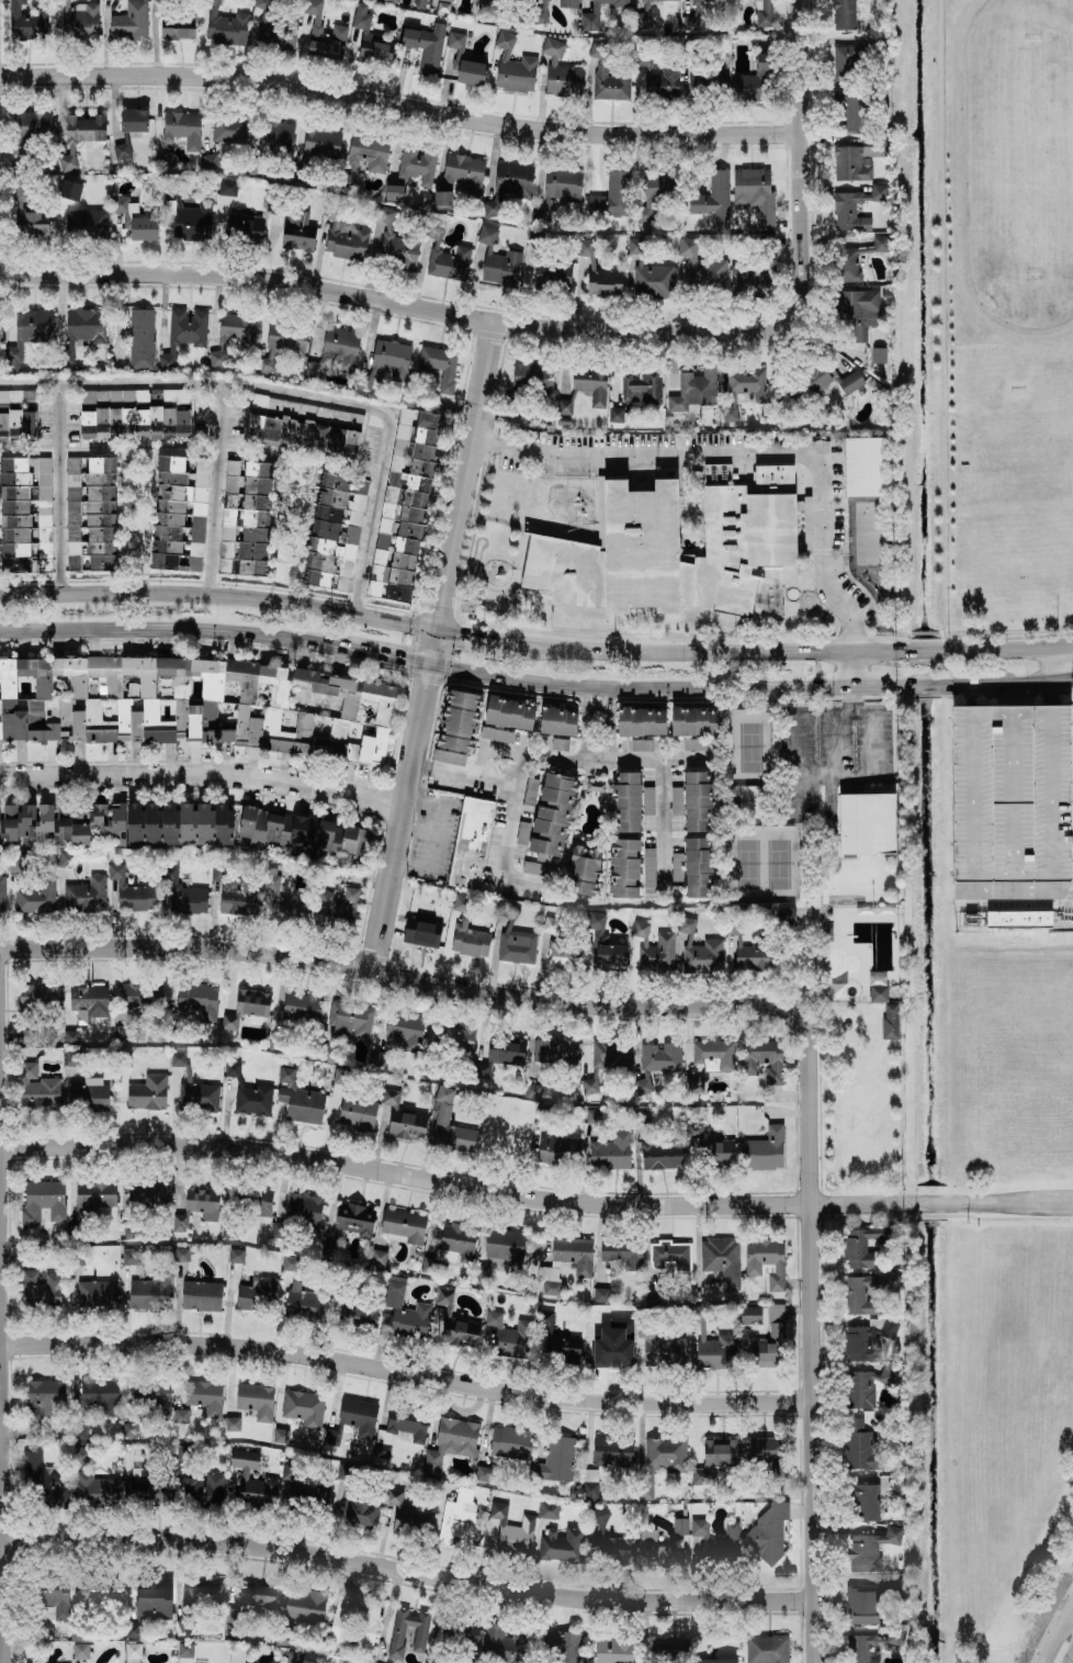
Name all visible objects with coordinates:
building: (389, 0)
building: (705, 0)
building: (416, 2)
building: (567, 3)
building: (443, 5)
building: (643, 10)
building: (541, 11)
building: (761, 12)
building: (595, 13)
building: (843, 14)
building: (26, 21)
building: (78, 21)
building: (129, 21)
building: (176, 26)
building: (226, 29)
building: (274, 33)
building: (323, 34)
building: (370, 38)
building: (454, 41)
building: (425, 45)
building: (846, 61)
building: (512, 67)
building: (560, 70)
building: (470, 71)
building: (607, 75)
building: (654, 77)
building: (707, 80)
road: (398, 108)
building: (848, 112)
building: (133, 120)
building: (31, 124)
building: (181, 127)
building: (228, 130)
building: (275, 135)
building: (79, 136)
building: (320, 142)
building: (121, 150)
building: (363, 155)
building: (856, 159)
building: (165, 160)
building: (210, 160)
building: (416, 164)
building: (460, 177)
building: (508, 184)
building: (227, 188)
building: (75, 191)
building: (653, 191)
building: (393, 192)
building: (754, 192)
road: (799, 192)
building: (610, 196)
building: (712, 199)
building: (854, 209)
building: (27, 217)
building: (136, 220)
building: (191, 221)
building: (84, 224)
building: (121, 224)
building: (244, 227)
building: (297, 231)
building: (486, 235)
building: (346, 240)
building: (879, 244)
building: (398, 250)
building: (449, 262)
building: (849, 265)
building: (501, 268)
building: (701, 268)
building: (645, 273)
building: (552, 276)
building: (748, 281)
building: (603, 283)
road: (369, 300)
building: (858, 310)
road: (936, 318)
building: (0, 326)
building: (187, 327)
building: (81, 330)
building: (27, 334)
building: (233, 335)
building: (140, 338)
building: (282, 344)
building: (336, 351)
building: (391, 358)
building: (167, 360)
building: (439, 366)
building: (531, 377)
building: (849, 382)
road: (226, 383)
building: (590, 384)
building: (820, 385)
building: (742, 387)
building: (692, 390)
building: (636, 393)
building: (27, 398)
building: (563, 405)
road: (50, 414)
building: (128, 416)
building: (14, 418)
building: (303, 425)
road: (190, 446)
road: (712, 451)
building: (862, 467)
road: (216, 488)
building: (403, 504)
building: (196, 508)
building: (27, 510)
building: (170, 510)
building: (89, 514)
building: (245, 517)
road: (58, 519)
building: (337, 531)
road: (365, 542)
building: (674, 549)
road: (218, 595)
traffic signals: (439, 609)
road: (850, 618)
road: (173, 629)
traffic signals: (458, 631)
road: (464, 631)
road: (920, 634)
road: (1062, 643)
road: (431, 645)
road: (1014, 647)
road: (734, 651)
road: (386, 655)
traffic signals: (404, 660)
road: (1052, 663)
road: (847, 666)
road: (1063, 678)
road: (1015, 681)
traffic signals: (426, 684)
road: (702, 685)
road: (850, 695)
building: (196, 705)
road: (846, 713)
road: (589, 717)
road: (611, 718)
building: (481, 719)
building: (694, 720)
building: (557, 721)
building: (641, 721)
road: (872, 732)
building: (693, 742)
road: (561, 744)
building: (641, 744)
building: (448, 756)
road: (840, 764)
road: (203, 775)
building: (595, 785)
building: (1010, 794)
parking garage: (1010, 794)
road: (524, 798)
building: (625, 801)
building: (698, 801)
road: (670, 814)
building: (178, 823)
building: (866, 823)
building: (61, 824)
building: (550, 824)
building: (261, 831)
road: (473, 841)
building: (470, 842)
building: (355, 844)
building: (65, 859)
road: (512, 859)
building: (698, 867)
building: (623, 868)
building: (584, 870)
road: (1020, 890)
building: (131, 891)
building: (1, 894)
building: (183, 894)
building: (86, 895)
building: (35, 897)
building: (238, 897)
building: (283, 901)
building: (459, 903)
building: (337, 907)
building: (1018, 919)
building: (421, 932)
building: (467, 937)
building: (516, 946)
building: (653, 947)
building: (699, 952)
building: (564, 955)
building: (752, 956)
building: (609, 957)
road: (363, 969)
building: (878, 993)
building: (38, 996)
building: (140, 996)
building: (88, 1002)
building: (196, 1002)
building: (246, 1007)
building: (301, 1008)
building: (348, 1020)
building: (890, 1021)
building: (405, 1030)
building: (451, 1034)
building: (29, 1035)
building: (554, 1053)
building: (713, 1054)
building: (499, 1055)
building: (659, 1056)
building: (177, 1058)
building: (376, 1058)
building: (606, 1060)
building: (761, 1060)
park: (851, 1070)
building: (642, 1086)
building: (37, 1089)
building: (82, 1090)
building: (147, 1092)
building: (197, 1097)
building: (298, 1099)
building: (388, 1099)
building: (252, 1100)
building: (357, 1111)
building: (545, 1115)
building: (442, 1116)
building: (592, 1116)
building: (641, 1119)
building: (406, 1125)
building: (710, 1145)
building: (764, 1149)
building: (557, 1150)
building: (610, 1151)
building: (660, 1156)
building: (146, 1194)
building: (93, 1195)
road: (534, 1199)
building: (256, 1201)
building: (42, 1202)
building: (202, 1202)
building: (304, 1211)
building: (354, 1218)
building: (179, 1222)
building: (403, 1226)
building: (278, 1231)
building: (454, 1243)
building: (865, 1245)
building: (327, 1247)
building: (506, 1247)
building: (622, 1252)
building: (180, 1254)
building: (573, 1254)
building: (236, 1255)
building: (670, 1255)
building: (377, 1257)
building: (721, 1260)
building: (287, 1262)
building: (765, 1262)
building: (481, 1276)
building: (551, 1288)
building: (39, 1290)
building: (149, 1292)
building: (257, 1293)
building: (95, 1294)
building: (600, 1294)
building: (200, 1295)
building: (443, 1296)
building: (855, 1296)
road: (810, 1300)
building: (304, 1302)
building: (405, 1311)
building: (358, 1313)
building: (749, 1315)
building: (775, 1322)
building: (460, 1331)
building: (508, 1335)
building: (867, 1339)
building: (552, 1344)
building: (662, 1348)
building: (713, 1349)
building: (764, 1355)
road: (405, 1374)
building: (869, 1385)
building: (101, 1395)
building: (204, 1396)
building: (44, 1398)
building: (256, 1401)
building: (303, 1407)
building: (180, 1416)
building: (358, 1416)
building: (231, 1424)
building: (399, 1429)
building: (78, 1431)
building: (279, 1435)
building: (331, 1436)
building: (509, 1442)
building: (449, 1443)
building: (862, 1447)
building: (612, 1450)
building: (761, 1451)
building: (714, 1459)
building: (554, 1460)
building: (481, 1473)
building: (38, 1477)
building: (251, 1477)
building: (589, 1485)
building: (94, 1486)
building: (147, 1486)
building: (203, 1487)
building: (304, 1490)
building: (863, 1502)
building: (547, 1509)
building: (498, 1510)
building: (385, 1514)
building: (458, 1517)
road: (1, 1524)
building: (489, 1533)
building: (768, 1533)
building: (516, 1537)
building: (690, 1541)
building: (561, 1544)
building: (611, 1549)
building: (870, 1549)
road: (407, 1572)
building: (202, 1592)
building: (99, 1594)
building: (253, 1594)
building: (56, 1597)
building: (153, 1598)
building: (862, 1604)
building: (304, 1605)
building: (354, 1620)
building: (236, 1626)
building: (133, 1629)
building: (459, 1630)
building: (406, 1631)
road: (1058, 1636)
building: (502, 1642)
building: (562, 1645)
building: (871, 1645)
building: (664, 1648)
building: (612, 1649)
building: (766, 1649)
building: (132, 1650)
building: (184, 1650)
building: (79, 1651)
building: (715, 1660)
road: (1071, 1660)

